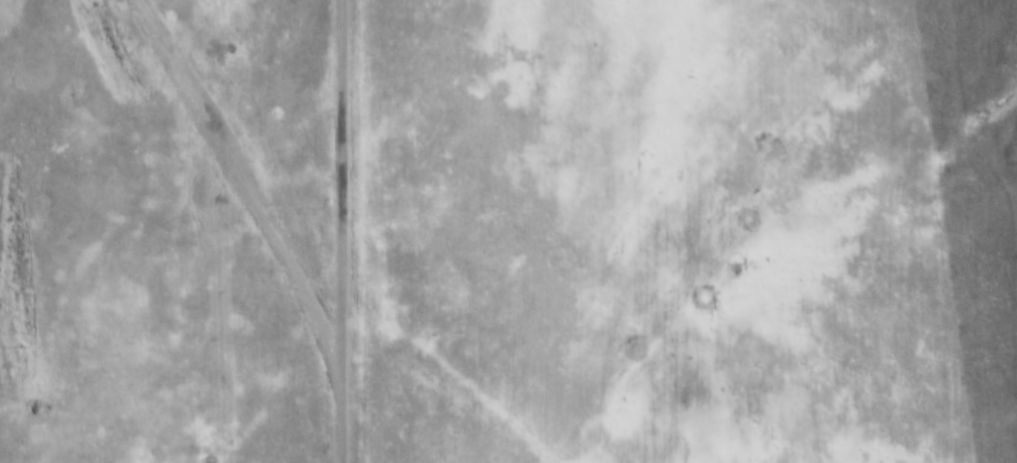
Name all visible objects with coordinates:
road: (345, 231)

